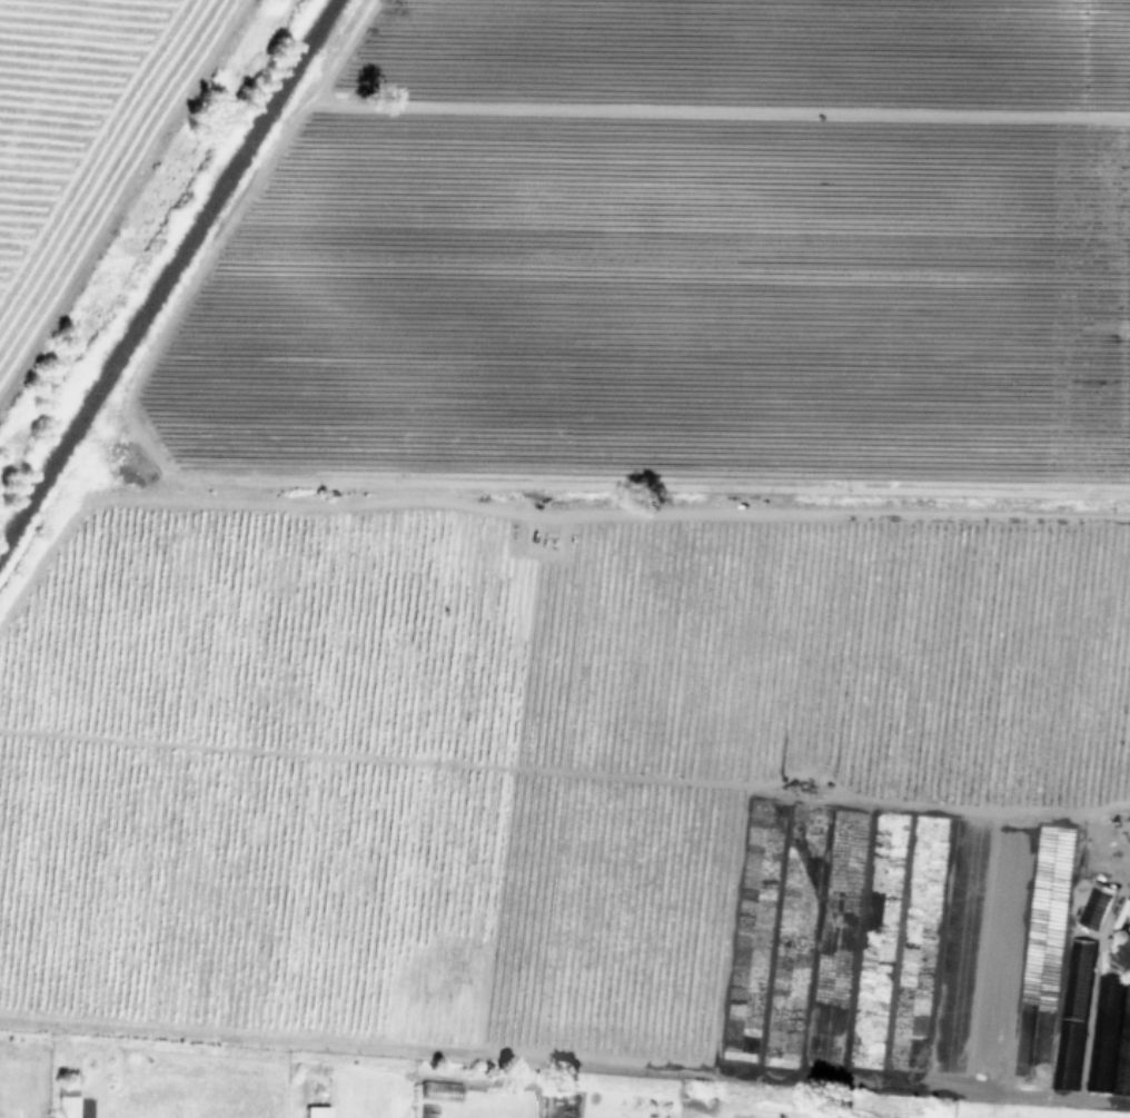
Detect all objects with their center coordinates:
crop: (80, 129)
railway: (168, 276)
crop: (621, 602)
road: (1112, 899)
building: (1122, 953)
building: (66, 1100)
building: (317, 1112)

